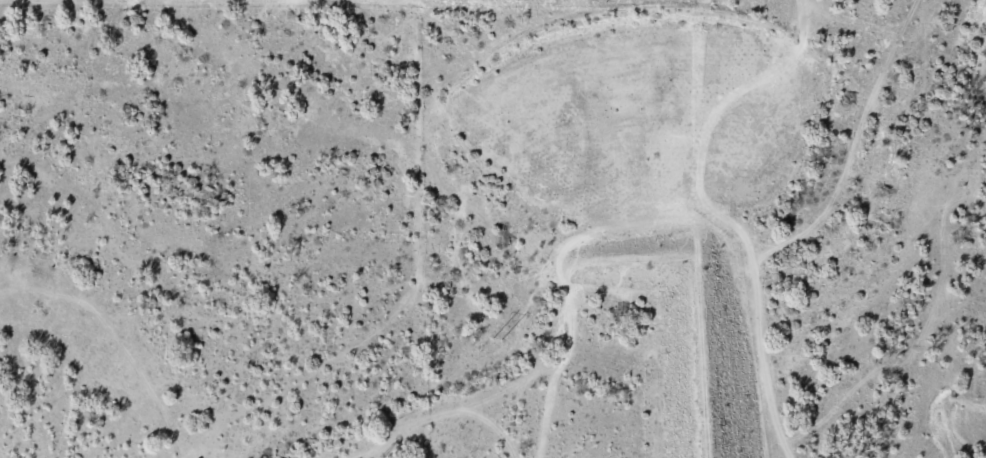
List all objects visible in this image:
road: (832, 152)
road: (371, 166)
power tower: (495, 336)
dam: (712, 353)

